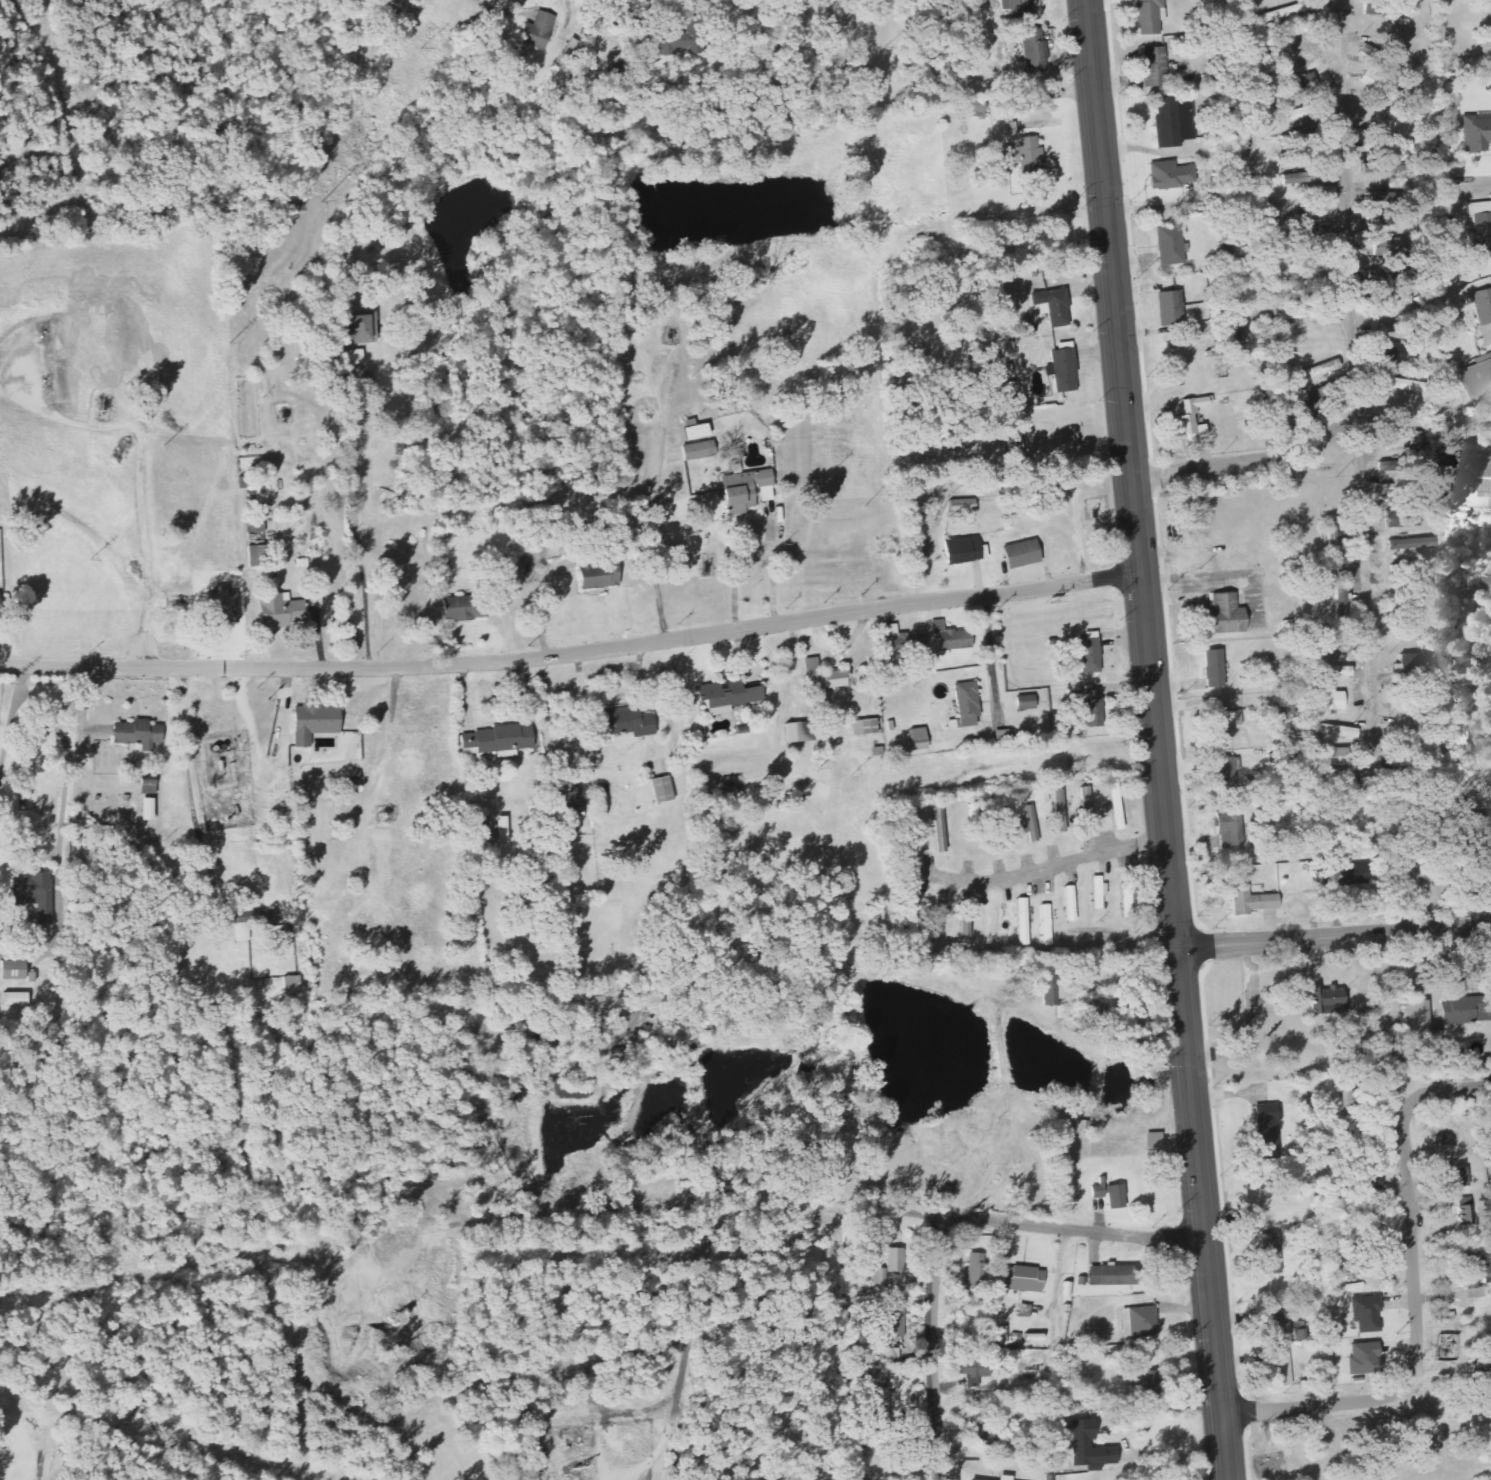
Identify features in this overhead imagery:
building: (1019, 8)
building: (1385, 8)
building: (1283, 11)
building: (1147, 16)
building: (536, 31)
building: (669, 43)
building: (1034, 51)
building: (1296, 61)
building: (1154, 67)
building: (1306, 83)
building: (1376, 85)
building: (1303, 112)
building: (1170, 122)
building: (1475, 133)
building: (1294, 137)
building: (1009, 143)
building: (1394, 146)
building: (1030, 156)
building: (1384, 166)
building: (1167, 176)
building: (1305, 177)
road: (1476, 184)
building: (1479, 207)
building: (1481, 234)
building: (1168, 245)
building: (1389, 298)
building: (1052, 305)
building: (1482, 305)
building: (1168, 308)
building: (1305, 313)
building: (1398, 326)
building: (362, 328)
building: (1388, 346)
building: (353, 357)
building: (1061, 367)
building: (1316, 372)
building: (1477, 377)
building: (1396, 383)
road: (1354, 384)
building: (1011, 388)
building: (1192, 417)
building: (694, 432)
building: (1401, 441)
building: (696, 451)
road: (1249, 458)
road: (151, 471)
building: (1484, 480)
building: (1401, 487)
building: (740, 490)
building: (765, 494)
building: (960, 505)
building: (1400, 518)
building: (255, 528)
road: (361, 543)
building: (1411, 543)
building: (961, 550)
building: (1020, 554)
building: (259, 555)
building: (598, 576)
building: (1340, 592)
building: (463, 608)
building: (279, 609)
building: (1221, 615)
building: (950, 638)
building: (899, 640)
building: (1324, 647)
building: (1088, 651)
road: (572, 656)
building: (1406, 663)
building: (1212, 668)
building: (1326, 670)
building: (822, 678)
building: (729, 694)
building: (1326, 700)
building: (1025, 702)
building: (966, 704)
building: (1092, 708)
building: (312, 722)
building: (622, 722)
building: (1220, 723)
building: (863, 727)
building: (1335, 731)
building: (795, 732)
building: (138, 734)
building: (495, 740)
road: (1156, 740)
building: (1325, 756)
building: (1275, 759)
building: (1224, 771)
building: (1435, 777)
building: (661, 790)
building: (577, 800)
building: (1115, 806)
building: (1086, 807)
building: (147, 809)
building: (1059, 811)
building: (1031, 823)
building: (939, 828)
building: (1226, 828)
building: (500, 830)
building: (916, 843)
road: (1039, 870)
building: (1347, 873)
building: (34, 893)
building: (1098, 893)
building: (1249, 901)
building: (1069, 904)
building: (911, 914)
building: (938, 914)
building: (253, 916)
building: (965, 916)
building: (1021, 922)
building: (1045, 925)
road: (1333, 936)
building: (12, 970)
building: (292, 985)
building: (1050, 991)
building: (14, 999)
building: (1327, 1000)
building: (1459, 1011)
building: (1415, 1017)
road: (1449, 1088)
building: (1268, 1130)
road: (249, 1132)
building: (1461, 1178)
building: (1370, 1184)
building: (1108, 1194)
building: (1464, 1211)
road: (1007, 1222)
road: (402, 1234)
road: (1411, 1246)
building: (1270, 1254)
building: (894, 1259)
building: (974, 1269)
building: (1353, 1270)
building: (1475, 1275)
building: (879, 1276)
building: (1106, 1276)
building: (1023, 1279)
building: (1365, 1314)
building: (895, 1320)
building: (1140, 1322)
building: (1277, 1325)
road: (688, 1346)
road: (932, 1347)
building: (1362, 1359)
building: (1280, 1370)
building: (970, 1373)
building: (1153, 1383)
road: (153, 1384)
building: (1484, 1395)
road: (1311, 1405)
building: (880, 1407)
building: (977, 1434)
building: (1089, 1449)
road: (0, 1466)
building: (1003, 1478)

